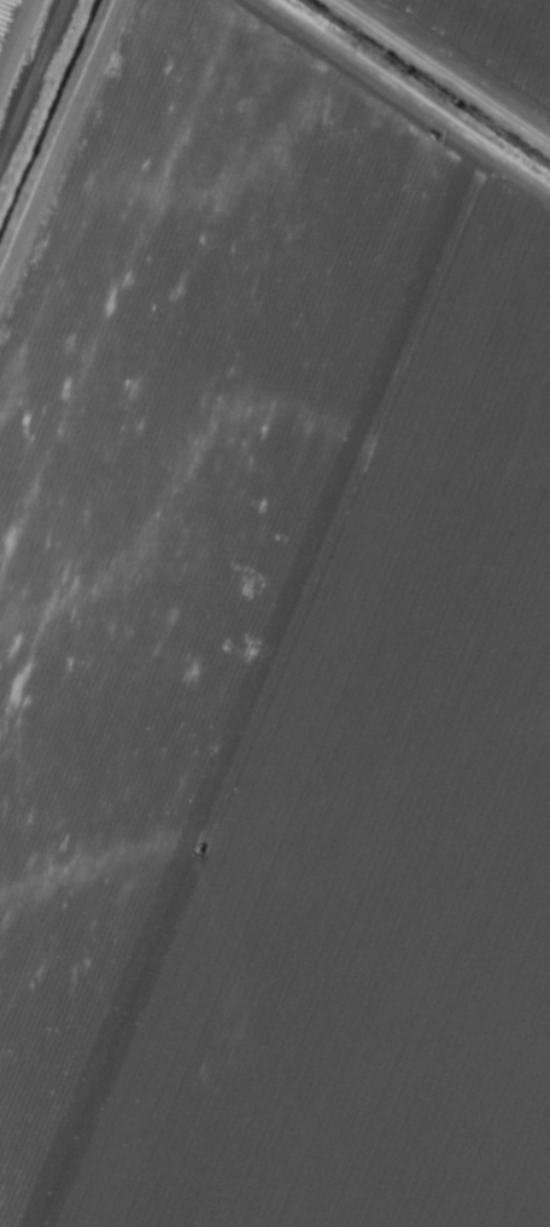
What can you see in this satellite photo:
road: (35, 86)
crop: (275, 613)

